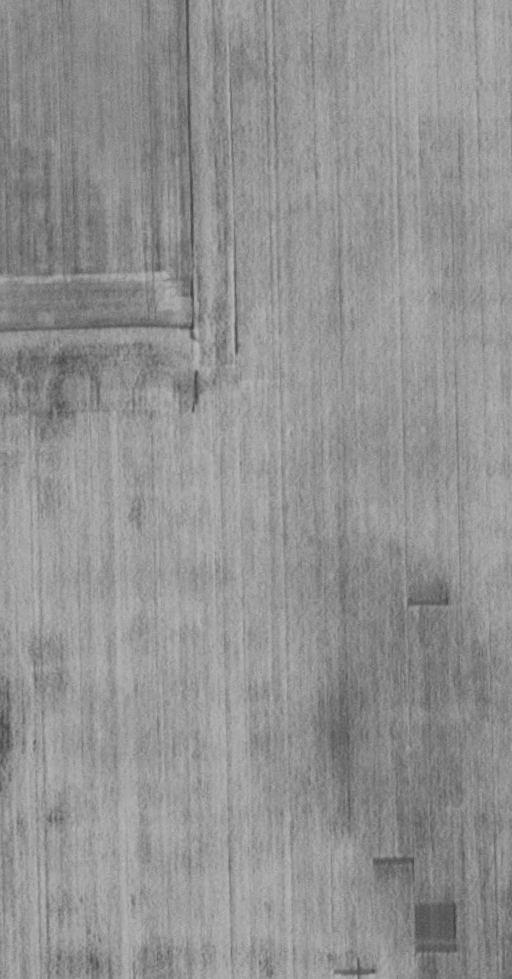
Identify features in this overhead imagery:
crop: (91, 164)
crop: (278, 533)

